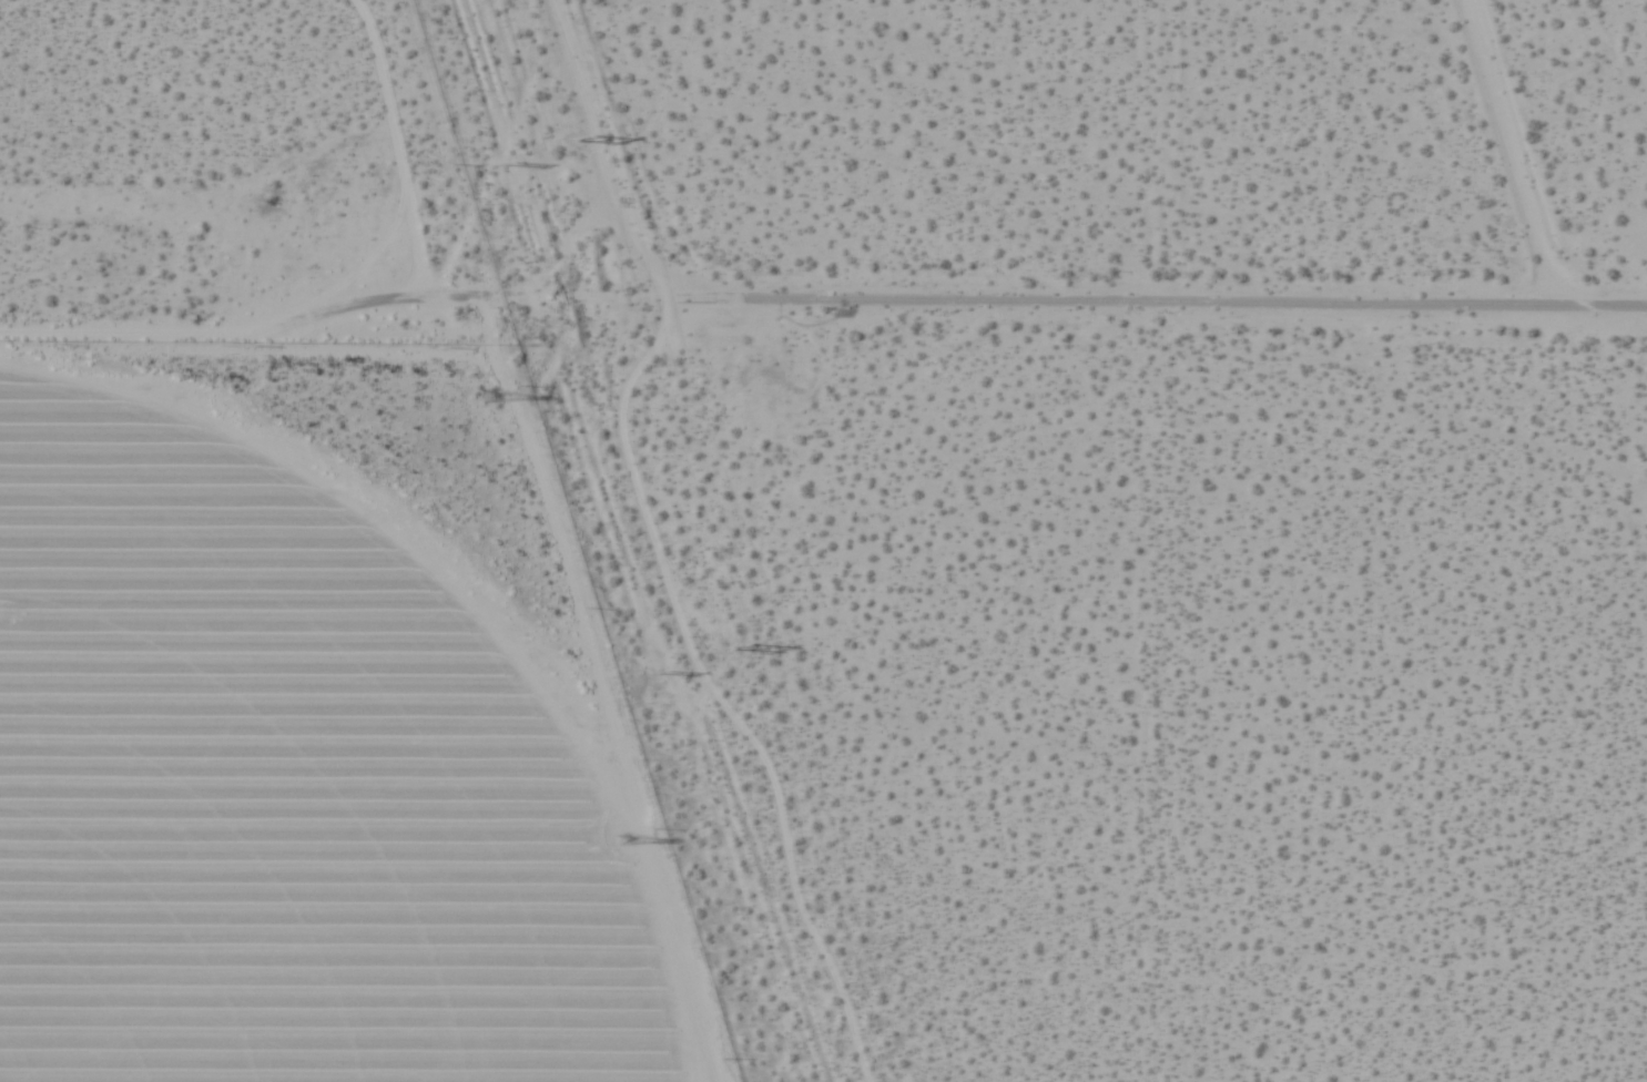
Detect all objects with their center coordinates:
road: (578, 103)
power tower: (581, 142)
road: (1518, 156)
power tower: (512, 164)
road: (321, 308)
road: (1106, 308)
power tower: (490, 401)
power tower: (730, 644)
power tower: (662, 664)
crop: (275, 790)
power tower: (626, 838)

